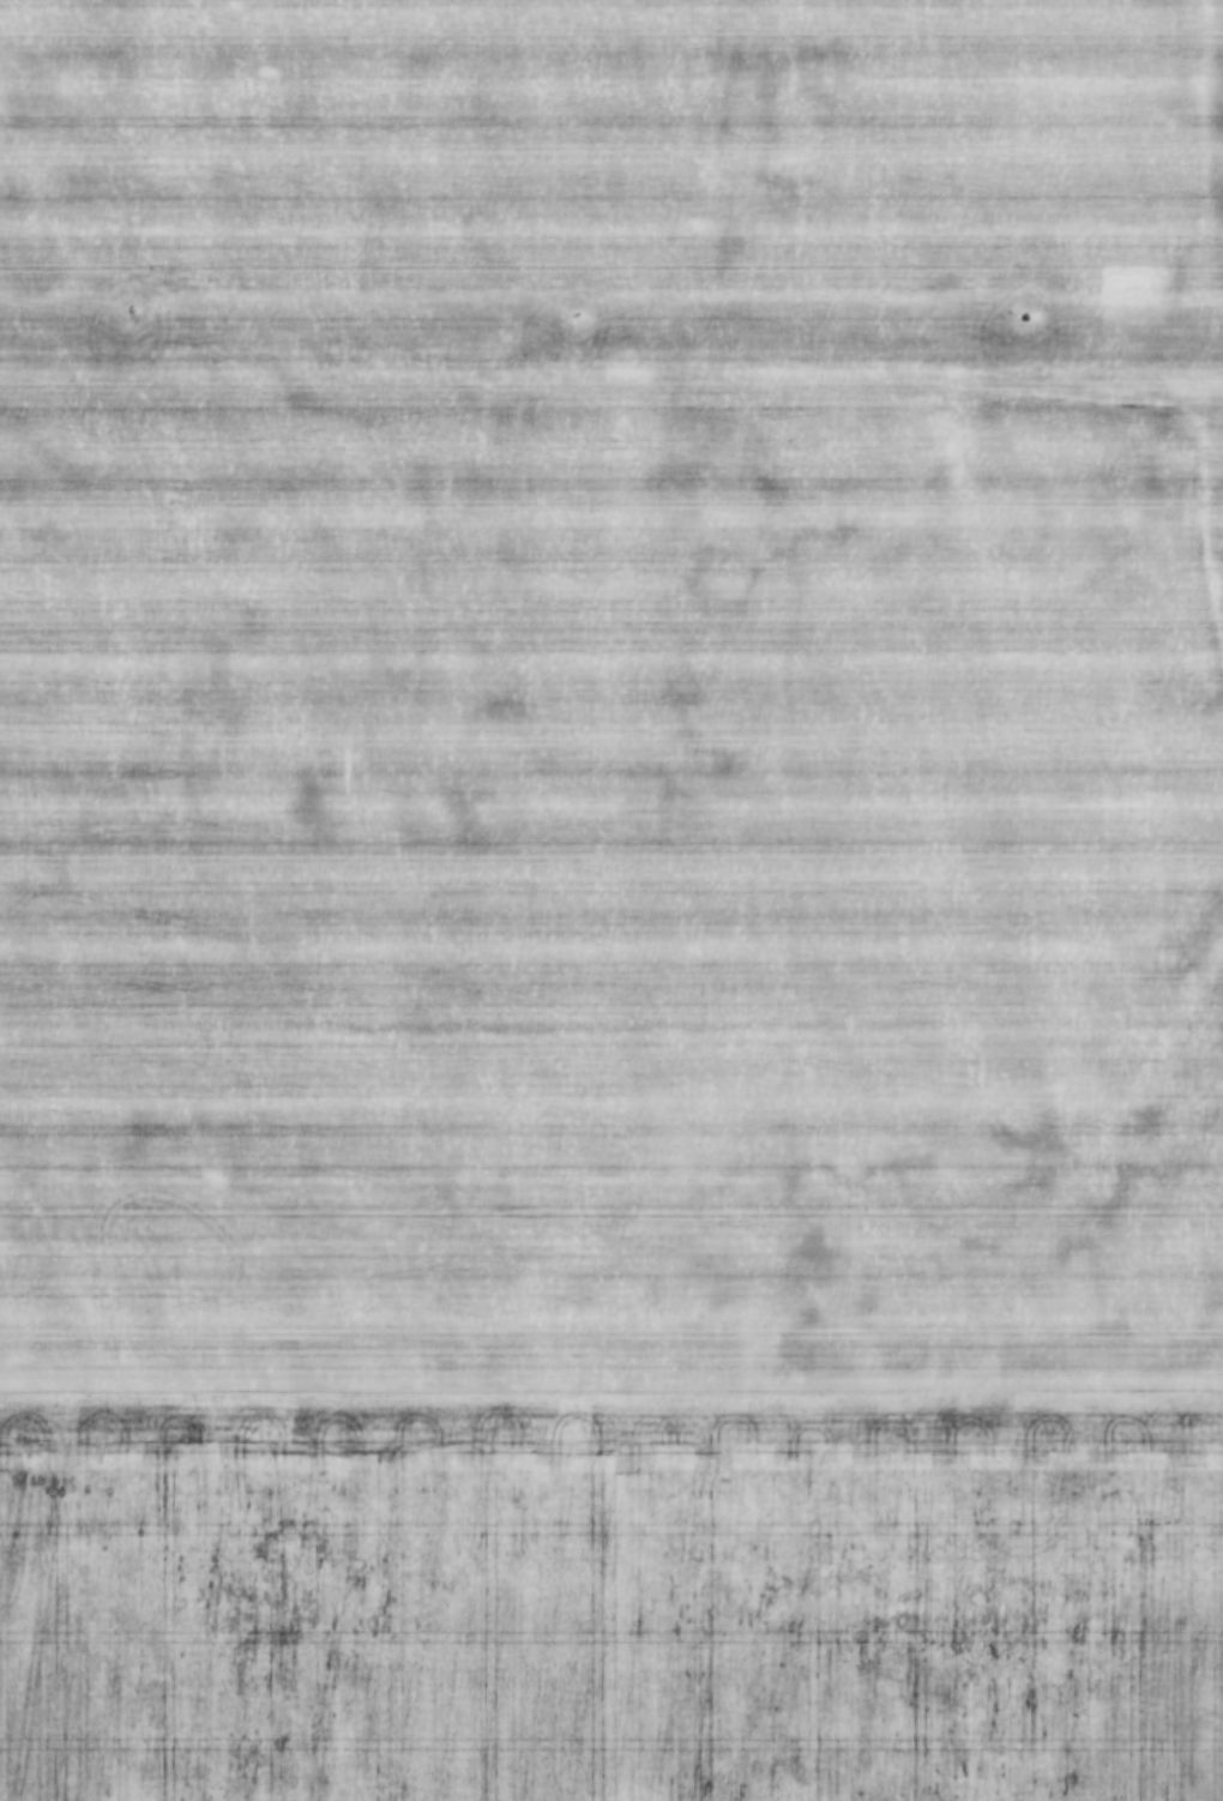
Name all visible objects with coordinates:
crop: (611, 698)
crop: (610, 1598)

